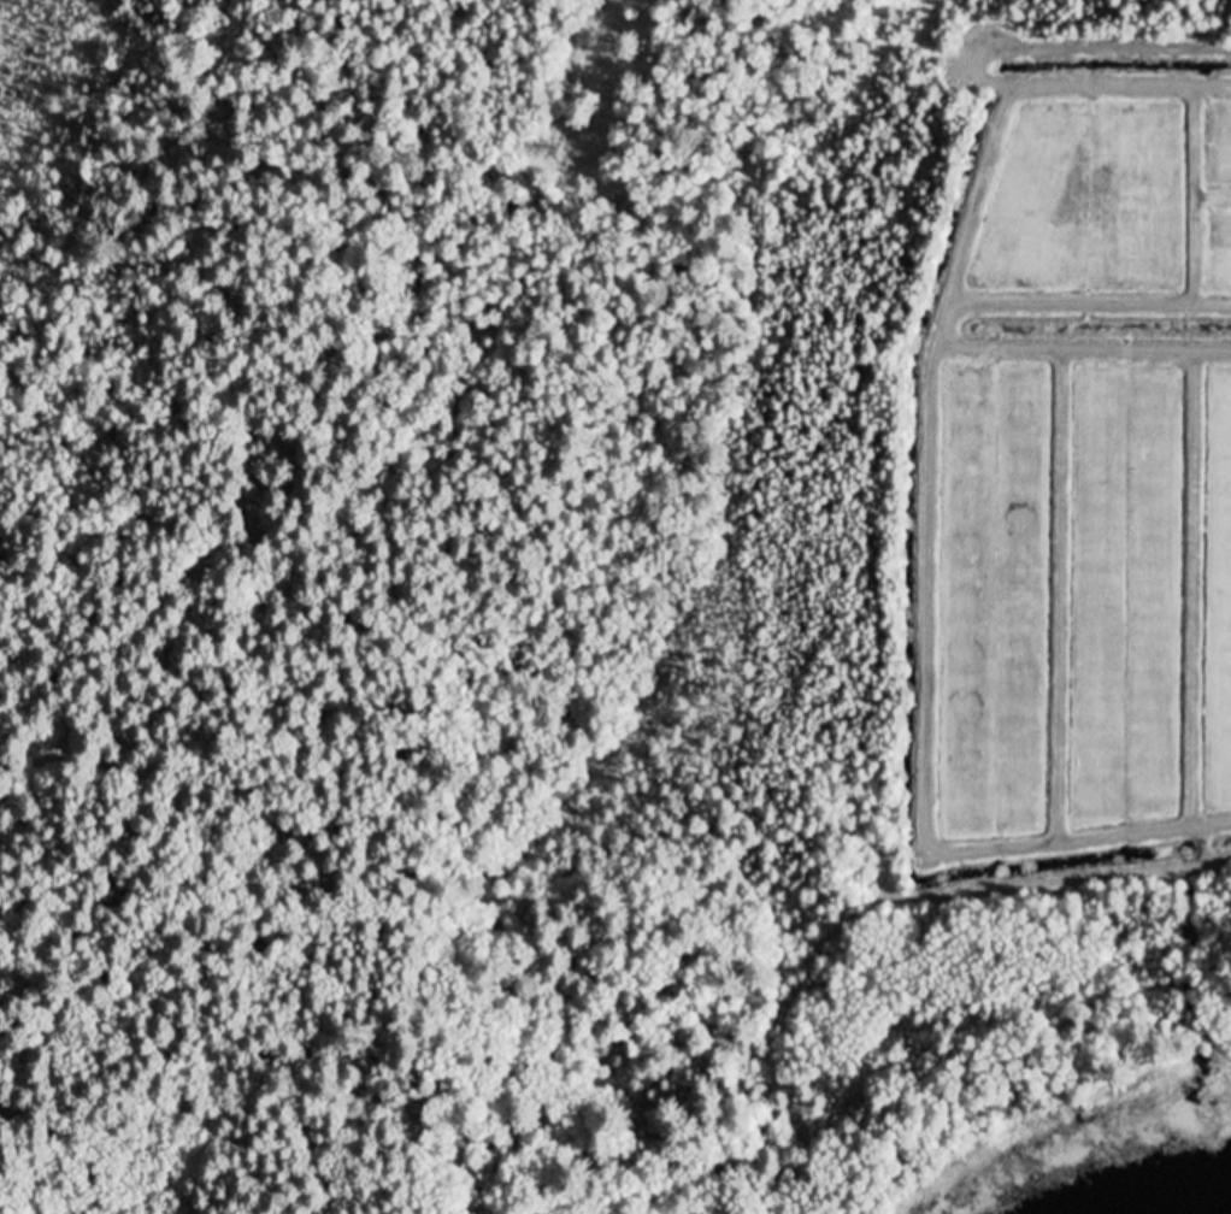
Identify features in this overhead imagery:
crop: (1109, 201)
crop: (1083, 597)

